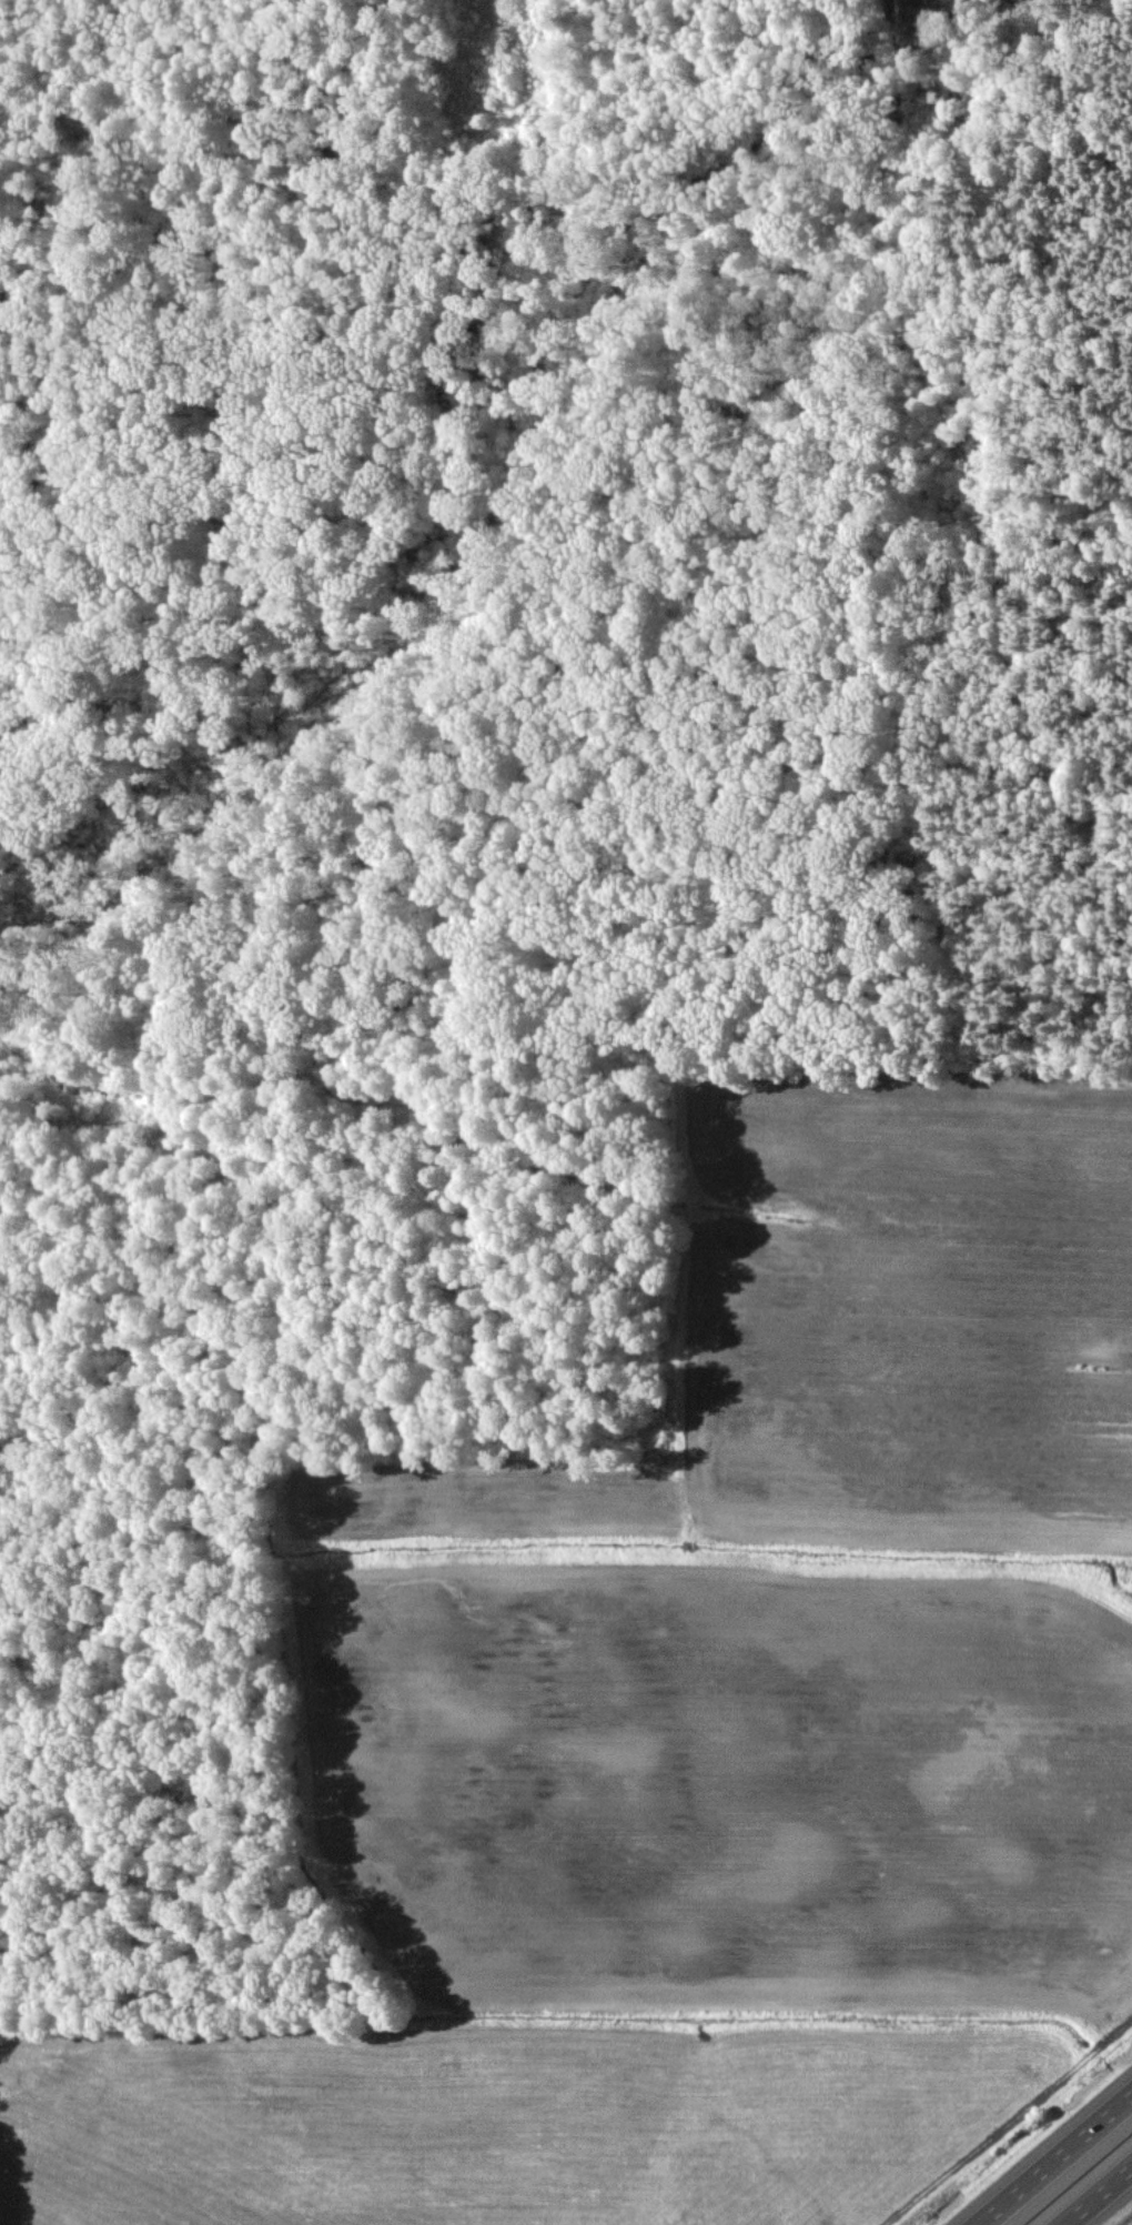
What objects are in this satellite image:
road: (1054, 2159)
road: (1098, 2195)

